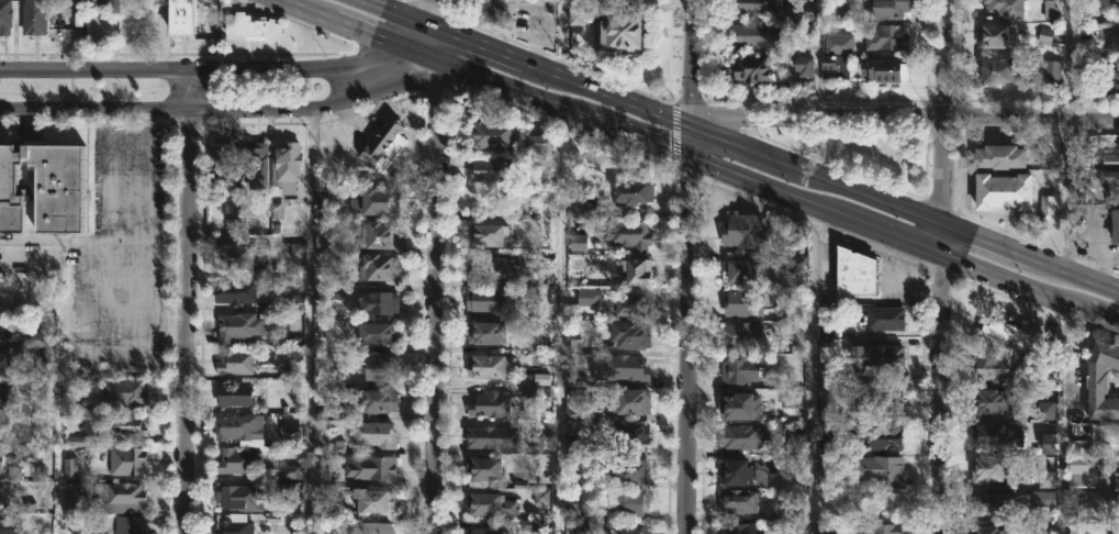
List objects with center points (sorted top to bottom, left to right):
building: (97, 2)
building: (1115, 4)
building: (751, 9)
building: (1005, 9)
building: (886, 10)
building: (1049, 10)
building: (841, 12)
building: (581, 13)
building: (4, 15)
road: (396, 15)
road: (438, 15)
building: (33, 18)
building: (178, 19)
building: (248, 26)
road: (358, 30)
building: (618, 33)
building: (753, 35)
building: (1044, 35)
building: (994, 36)
road: (560, 38)
building: (886, 38)
building: (1112, 38)
building: (838, 44)
road: (438, 45)
road: (816, 57)
road: (945, 58)
road: (1068, 58)
road: (694, 64)
building: (835, 66)
road: (219, 67)
building: (804, 67)
building: (996, 70)
building: (750, 71)
building: (883, 71)
building: (1051, 73)
building: (1111, 81)
road: (224, 109)
road: (816, 116)
road: (1031, 118)
road: (691, 129)
traffic signals: (691, 129)
building: (490, 134)
building: (539, 141)
building: (380, 143)
park: (863, 153)
road: (690, 159)
building: (1000, 159)
traffic signals: (691, 160)
building: (1110, 160)
building: (254, 164)
building: (220, 165)
building: (492, 168)
building: (284, 169)
road: (944, 171)
road: (108, 173)
road: (146, 173)
building: (1111, 186)
building: (44, 188)
building: (1079, 188)
building: (630, 192)
building: (1003, 193)
road: (1066, 194)
building: (378, 199)
building: (323, 202)
building: (582, 209)
building: (1047, 209)
building: (1115, 227)
building: (743, 230)
building: (485, 233)
building: (374, 234)
building: (627, 234)
road: (93, 237)
road: (250, 237)
building: (578, 242)
road: (943, 243)
building: (295, 253)
building: (233, 255)
building: (797, 259)
road: (1030, 259)
building: (378, 266)
building: (486, 266)
building: (634, 269)
building: (740, 270)
building: (853, 271)
building: (238, 291)
road: (1030, 291)
road: (436, 297)
building: (588, 297)
building: (490, 299)
road: (188, 301)
building: (379, 302)
building: (628, 302)
building: (742, 302)
building: (0, 318)
building: (884, 318)
road: (311, 320)
road: (558, 321)
building: (240, 326)
road: (691, 331)
building: (3, 332)
building: (488, 332)
building: (1006, 332)
building: (629, 333)
building: (742, 334)
building: (372, 335)
building: (41, 341)
building: (882, 356)
building: (233, 361)
building: (3, 364)
building: (484, 365)
building: (378, 367)
building: (623, 367)
building: (993, 368)
building: (738, 369)
road: (810, 371)
building: (828, 378)
building: (1101, 380)
road: (58, 385)
building: (125, 392)
building: (233, 394)
building: (882, 396)
road: (942, 396)
building: (1, 397)
building: (376, 400)
building: (629, 400)
building: (988, 401)
building: (797, 402)
building: (488, 404)
building: (575, 404)
building: (740, 404)
building: (1047, 411)
road: (1063, 419)
building: (123, 425)
building: (234, 427)
building: (1, 431)
building: (628, 432)
building: (371, 433)
building: (995, 435)
building: (484, 436)
building: (738, 436)
building: (876, 436)
building: (1049, 444)
building: (572, 445)
building: (124, 459)
building: (236, 460)
building: (2, 464)
building: (1082, 464)
building: (777, 466)
building: (371, 467)
building: (482, 468)
building: (877, 468)
building: (627, 469)
building: (988, 469)
building: (735, 471)
building: (824, 475)
building: (1047, 480)
building: (1117, 486)
building: (1, 493)
building: (118, 496)
building: (75, 497)
building: (238, 497)
building: (1041, 498)
building: (370, 499)
building: (737, 500)
building: (489, 503)
building: (627, 503)
building: (992, 503)
building: (574, 511)
building: (126, 524)
building: (231, 524)
building: (5, 526)
building: (371, 527)
building: (736, 527)
building: (875, 527)
building: (1118, 527)
building: (577, 529)
building: (629, 529)
building: (483, 530)
building: (988, 530)

